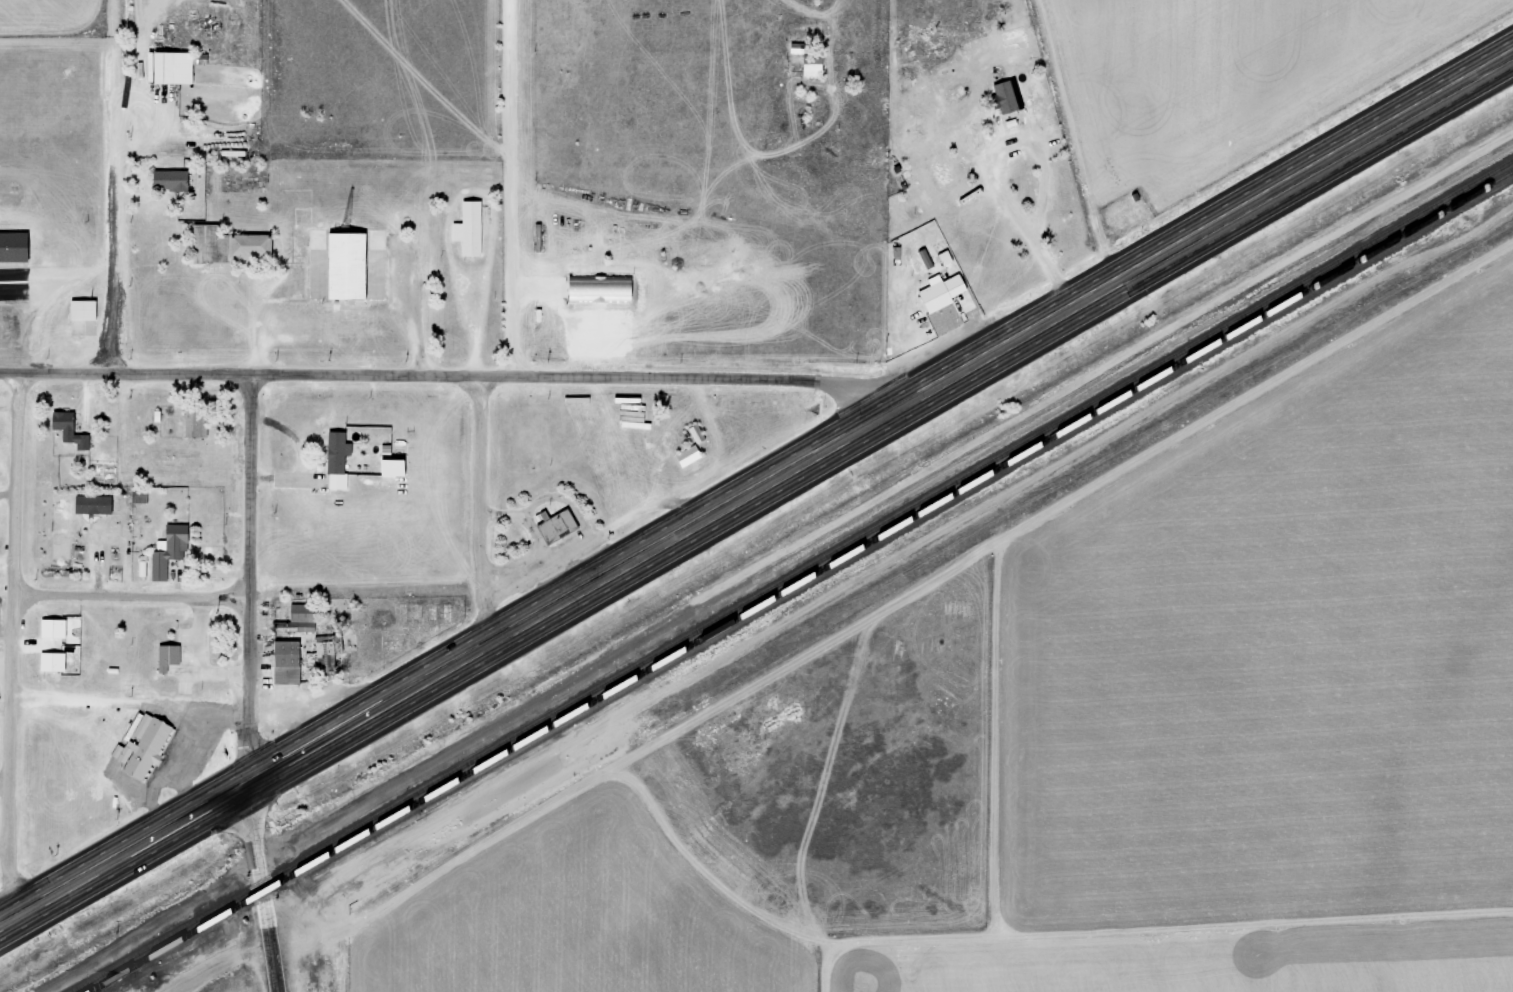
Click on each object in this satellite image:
building: (811, 65)
building: (169, 67)
building: (1006, 97)
building: (944, 174)
building: (169, 180)
road: (116, 186)
building: (469, 229)
building: (13, 247)
building: (230, 247)
building: (345, 266)
building: (600, 289)
building: (935, 295)
building: (84, 310)
road: (445, 378)
road: (880, 419)
building: (196, 423)
building: (69, 430)
building: (688, 456)
building: (338, 461)
building: (389, 467)
building: (93, 505)
road: (483, 511)
building: (557, 526)
building: (169, 551)
building: (144, 569)
railway: (793, 577)
road: (251, 578)
railway: (802, 582)
road: (133, 597)
building: (301, 613)
building: (53, 629)
road: (13, 646)
building: (320, 653)
building: (167, 657)
building: (52, 662)
building: (287, 663)
building: (142, 746)
road: (4, 786)
road: (123, 854)
road: (262, 887)
railway: (107, 983)

